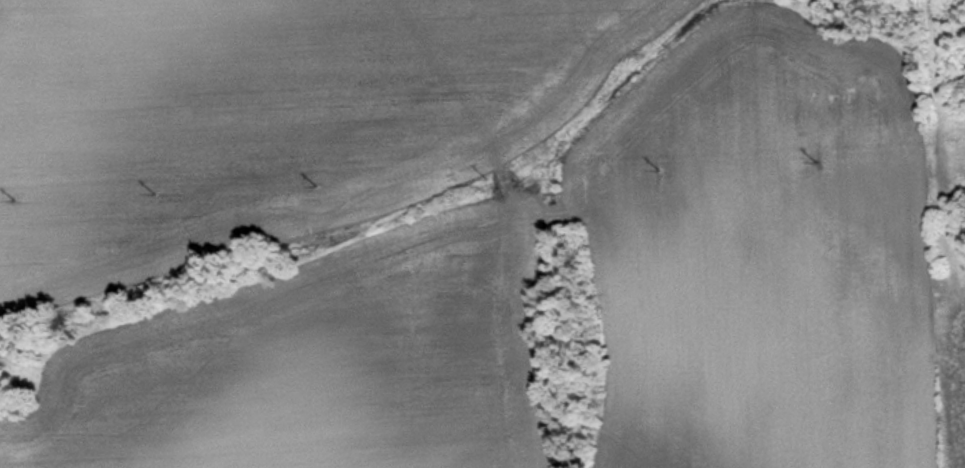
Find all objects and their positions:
road: (940, 112)

